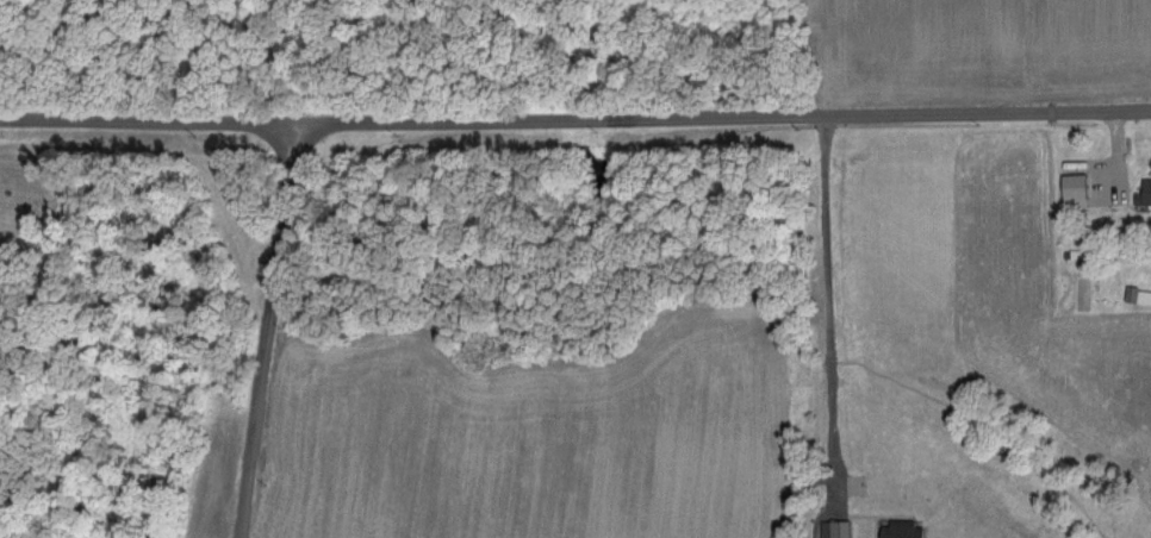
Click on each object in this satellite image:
road: (575, 120)
building: (1074, 188)
building: (1144, 190)
road: (266, 331)
building: (834, 528)
building: (902, 528)

